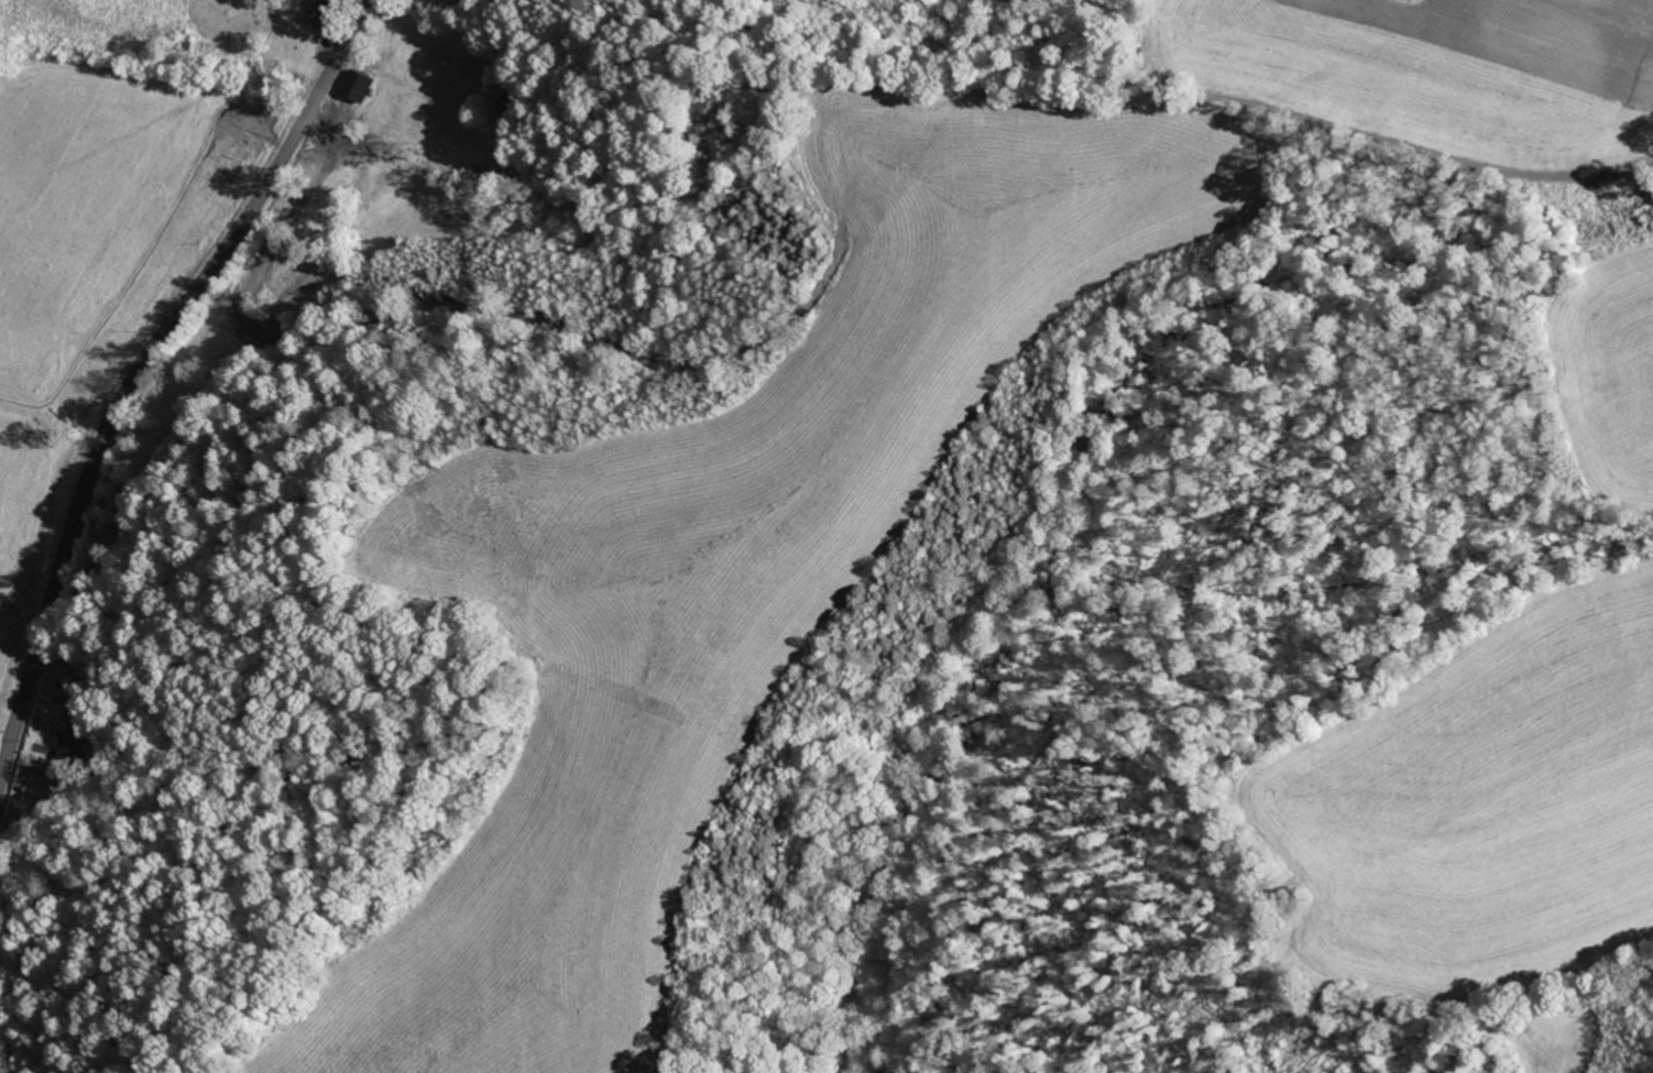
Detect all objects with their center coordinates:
building: (321, 14)
road: (297, 18)
building: (358, 87)
road: (141, 366)
building: (74, 738)

